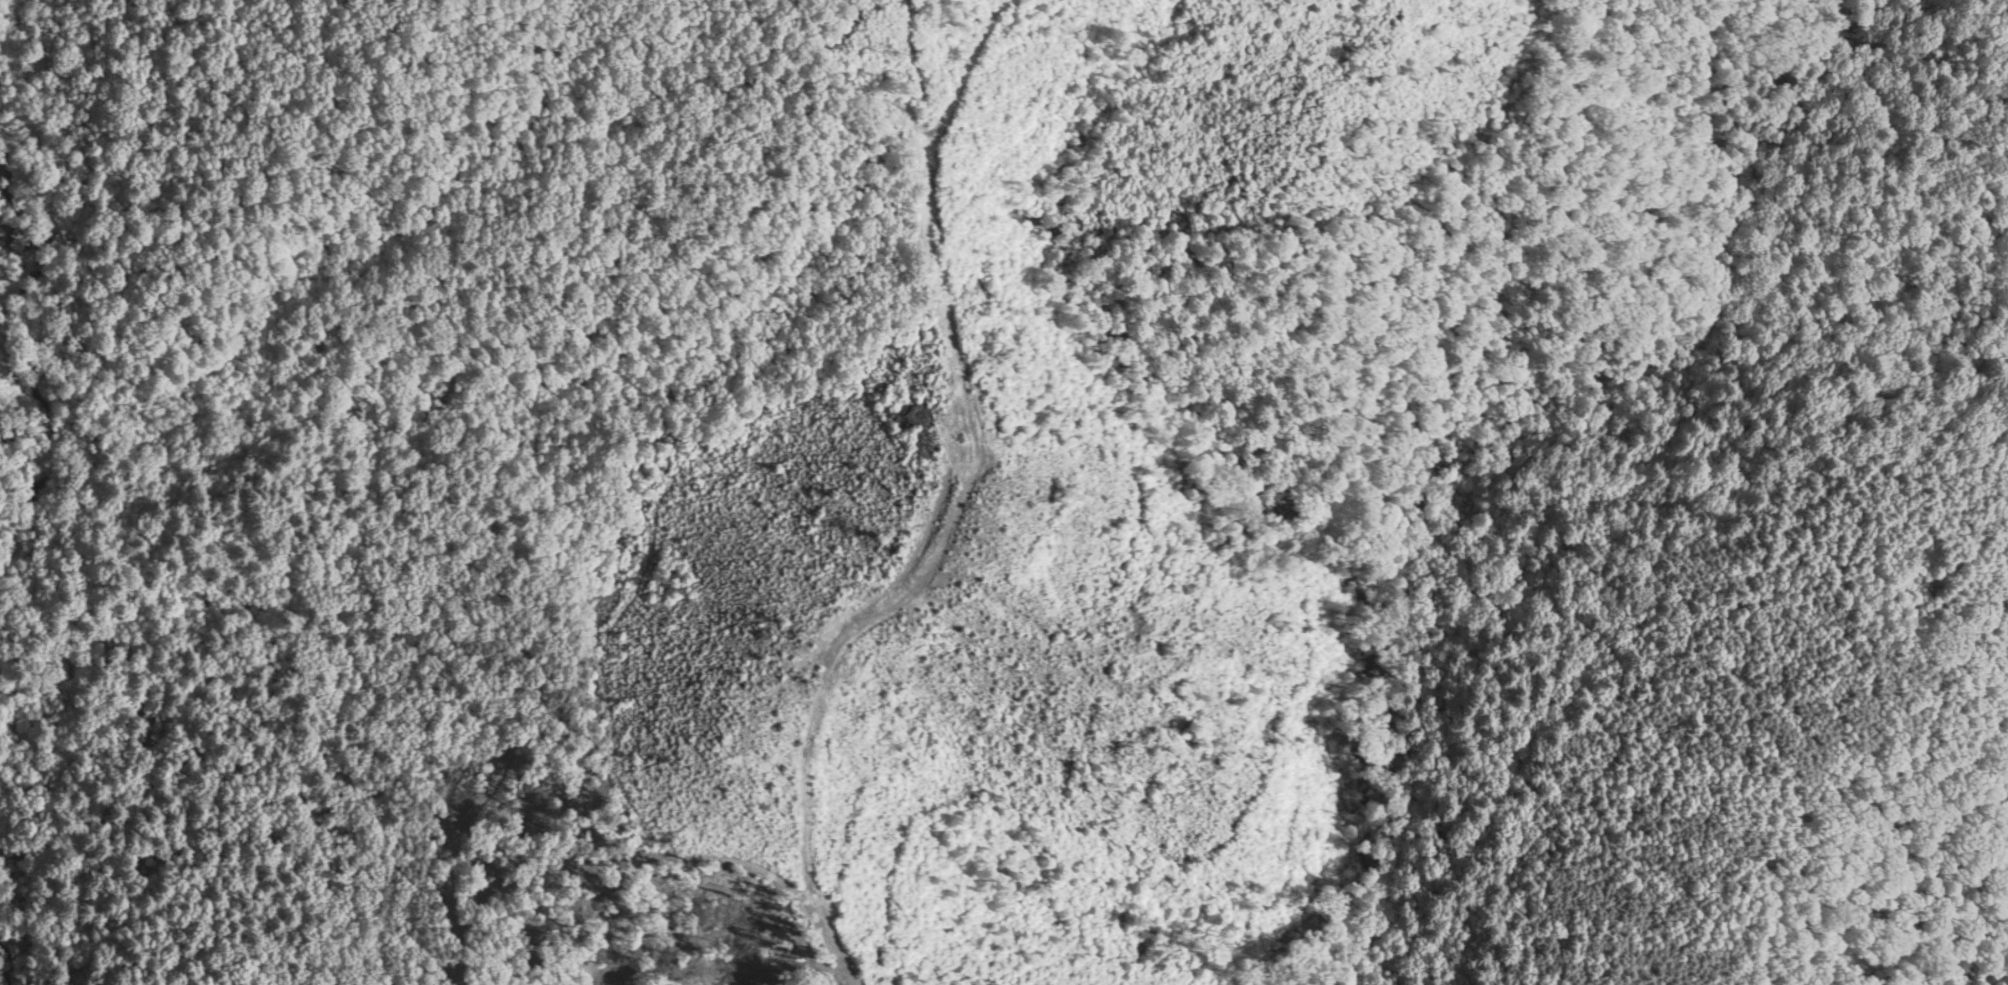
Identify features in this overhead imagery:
park: (1974, 93)
building: (22, 241)

